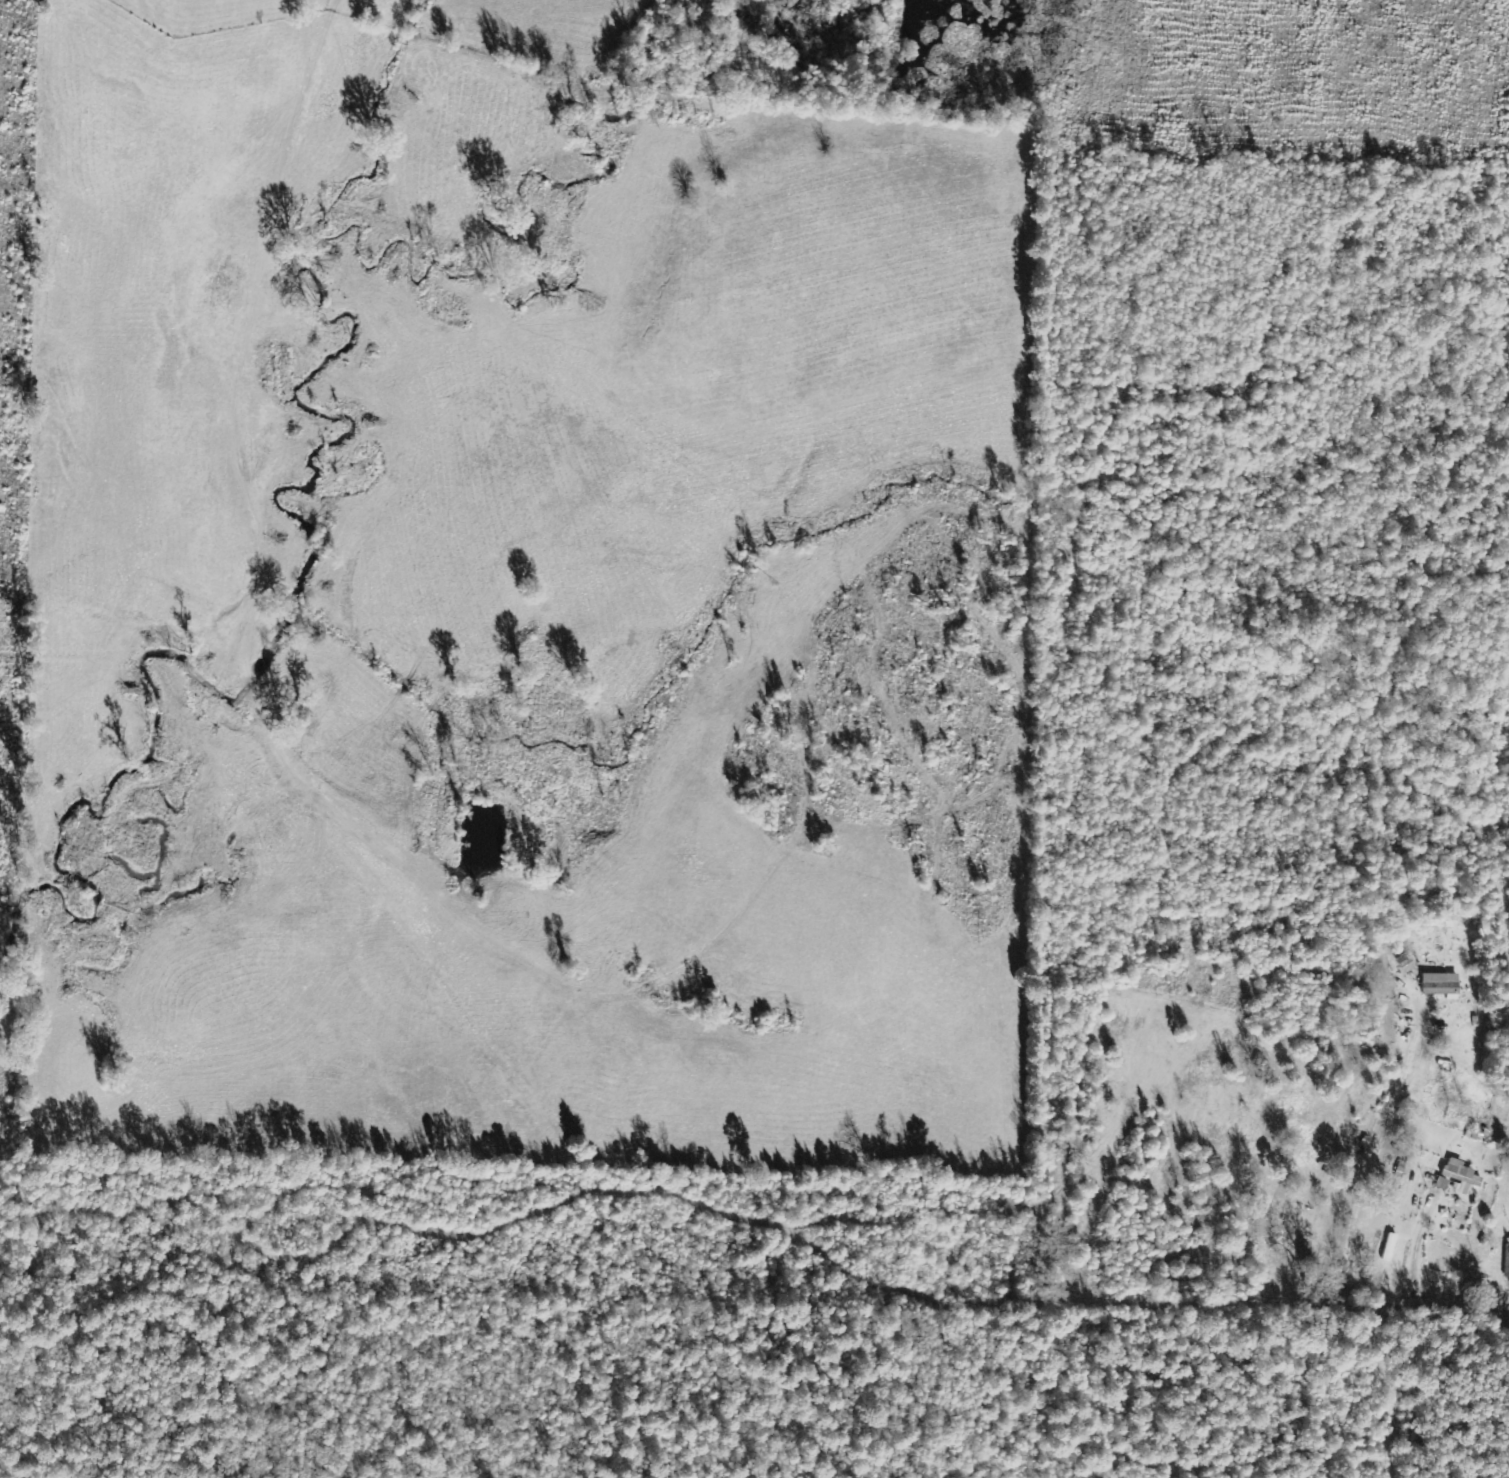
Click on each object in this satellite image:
building: (1459, 1174)
building: (1506, 1259)

